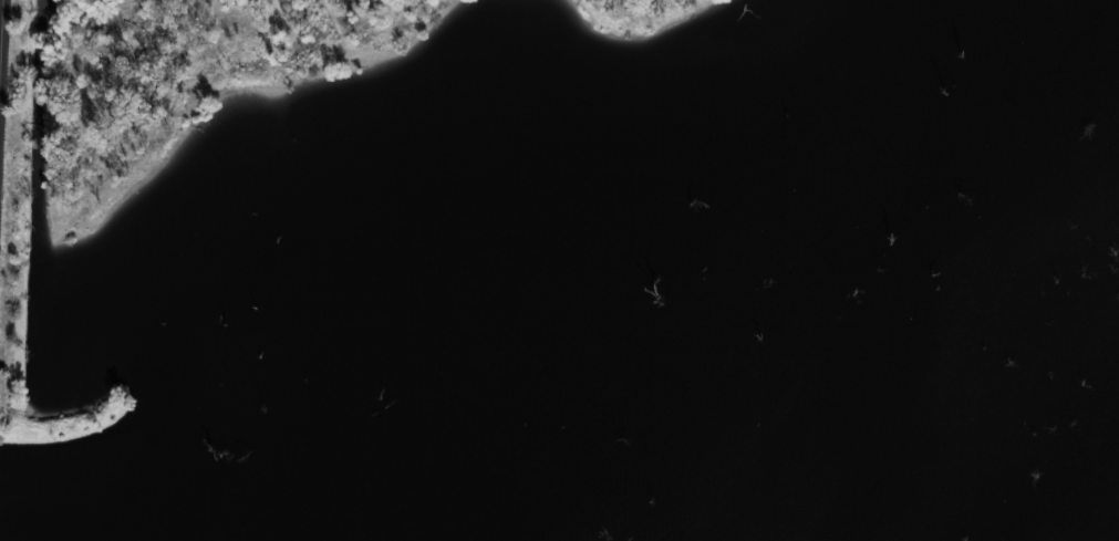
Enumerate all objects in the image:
building: (674, 305)
building: (752, 306)
building: (608, 362)
building: (312, 374)

